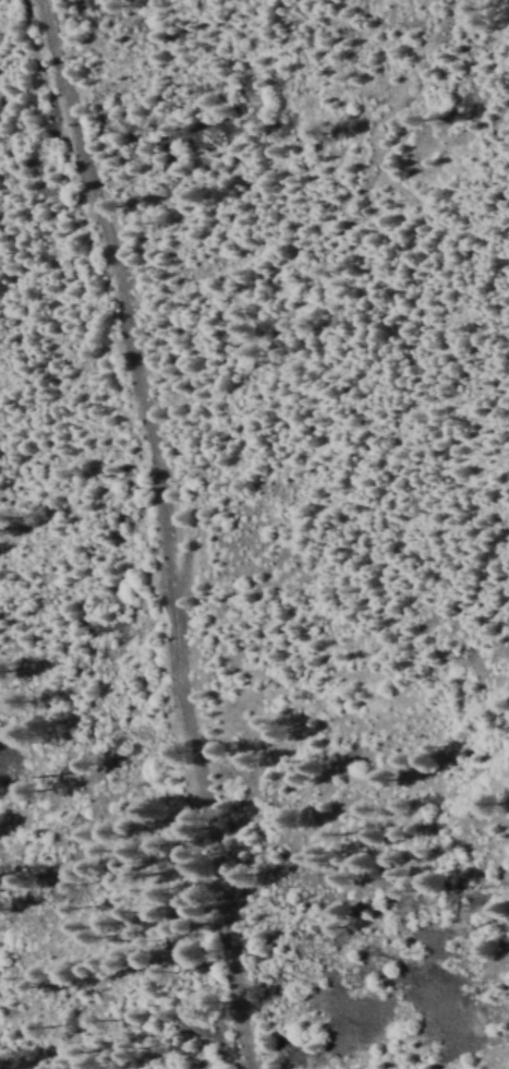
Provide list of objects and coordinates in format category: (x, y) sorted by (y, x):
road: (134, 540)

